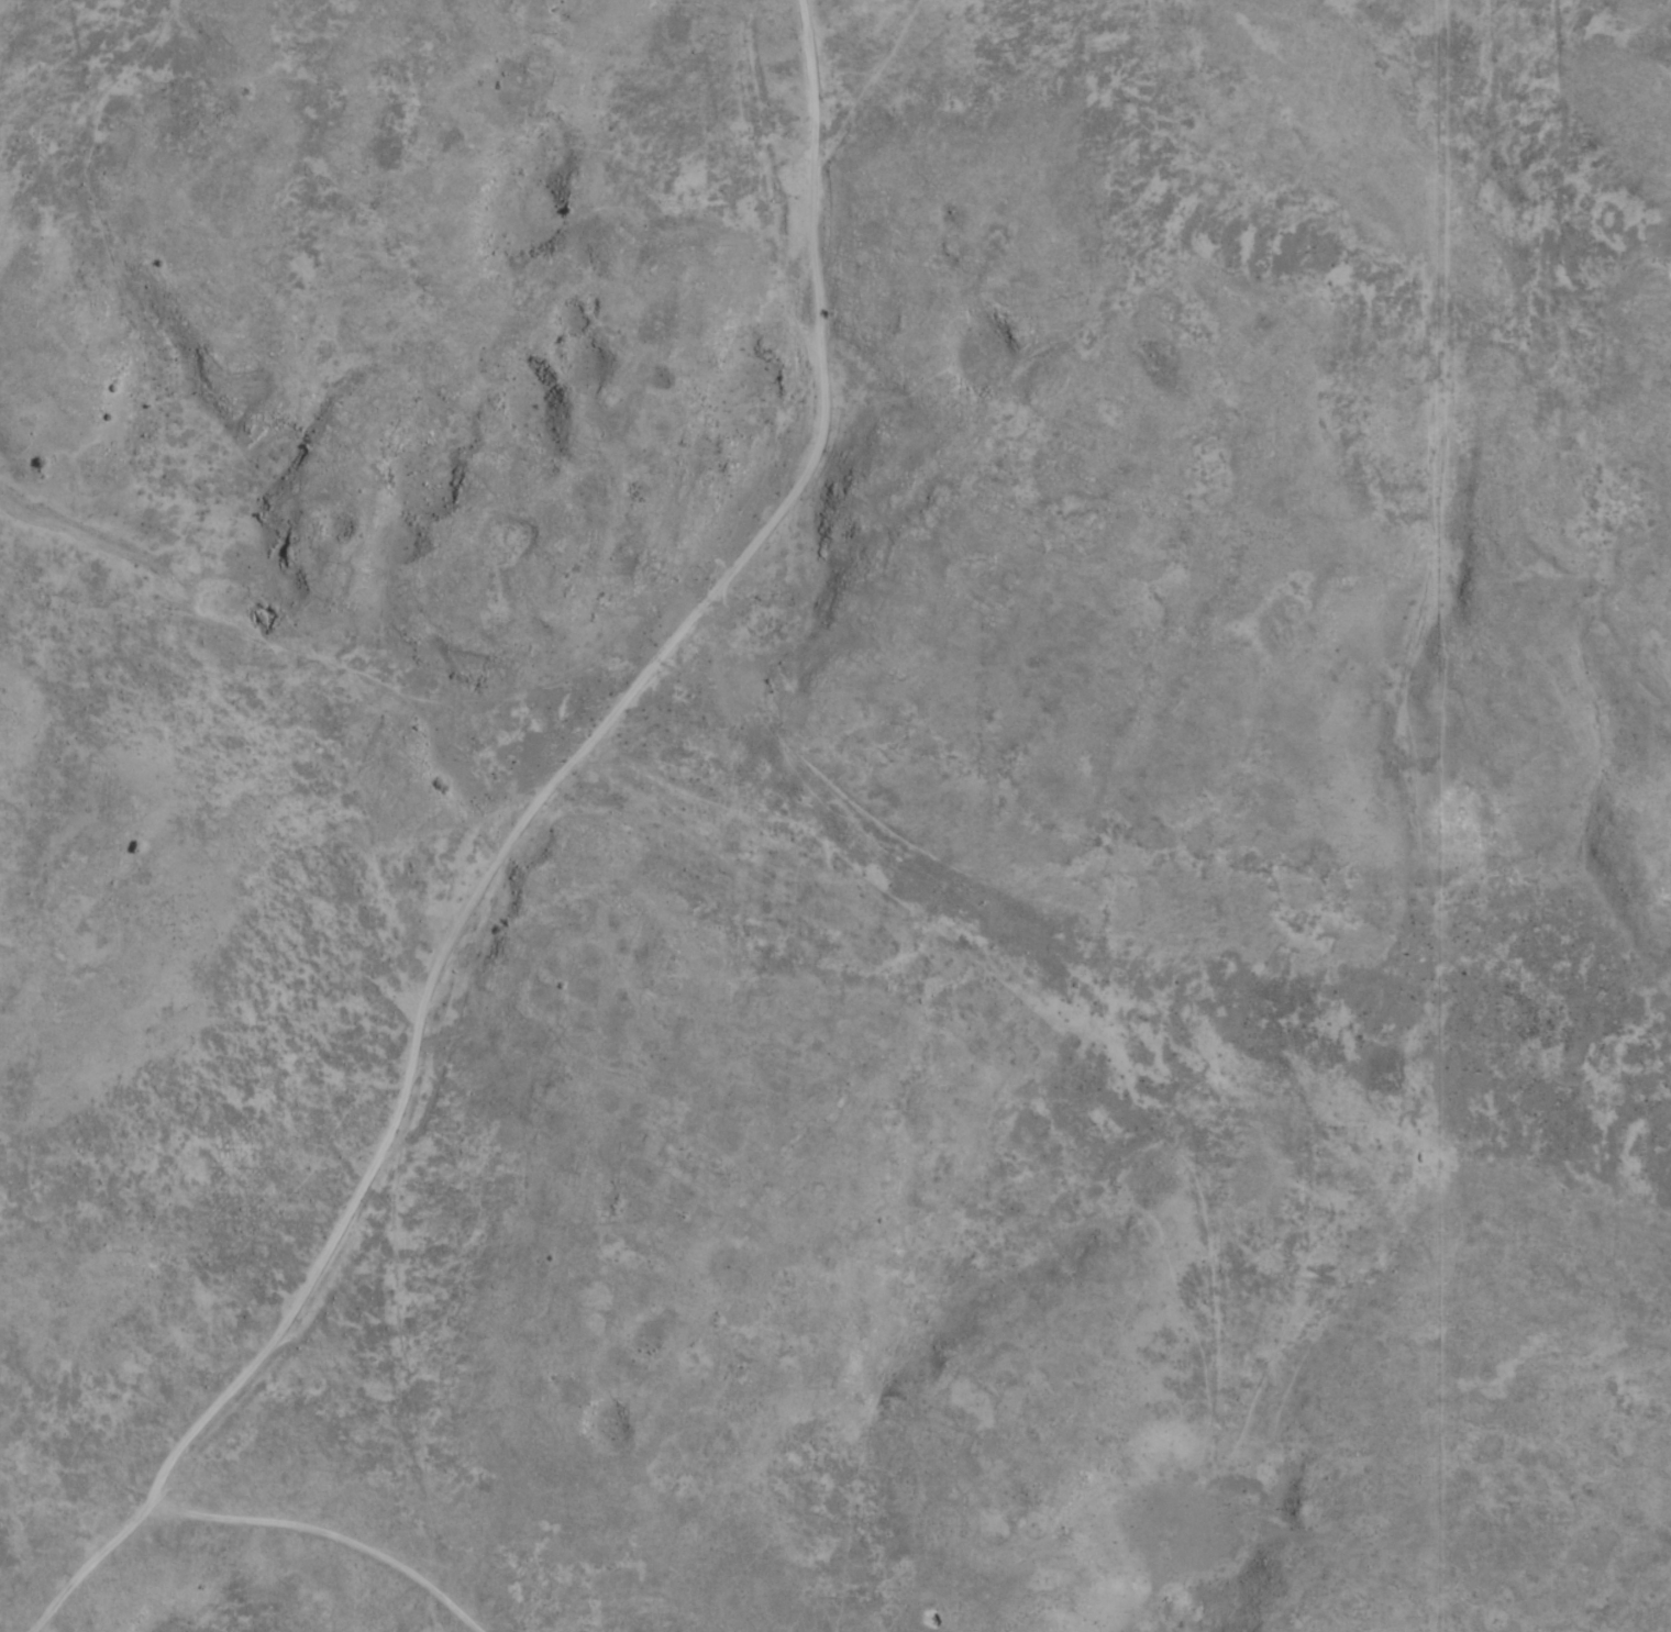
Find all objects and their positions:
road: (518, 835)
road: (1567, 1470)

